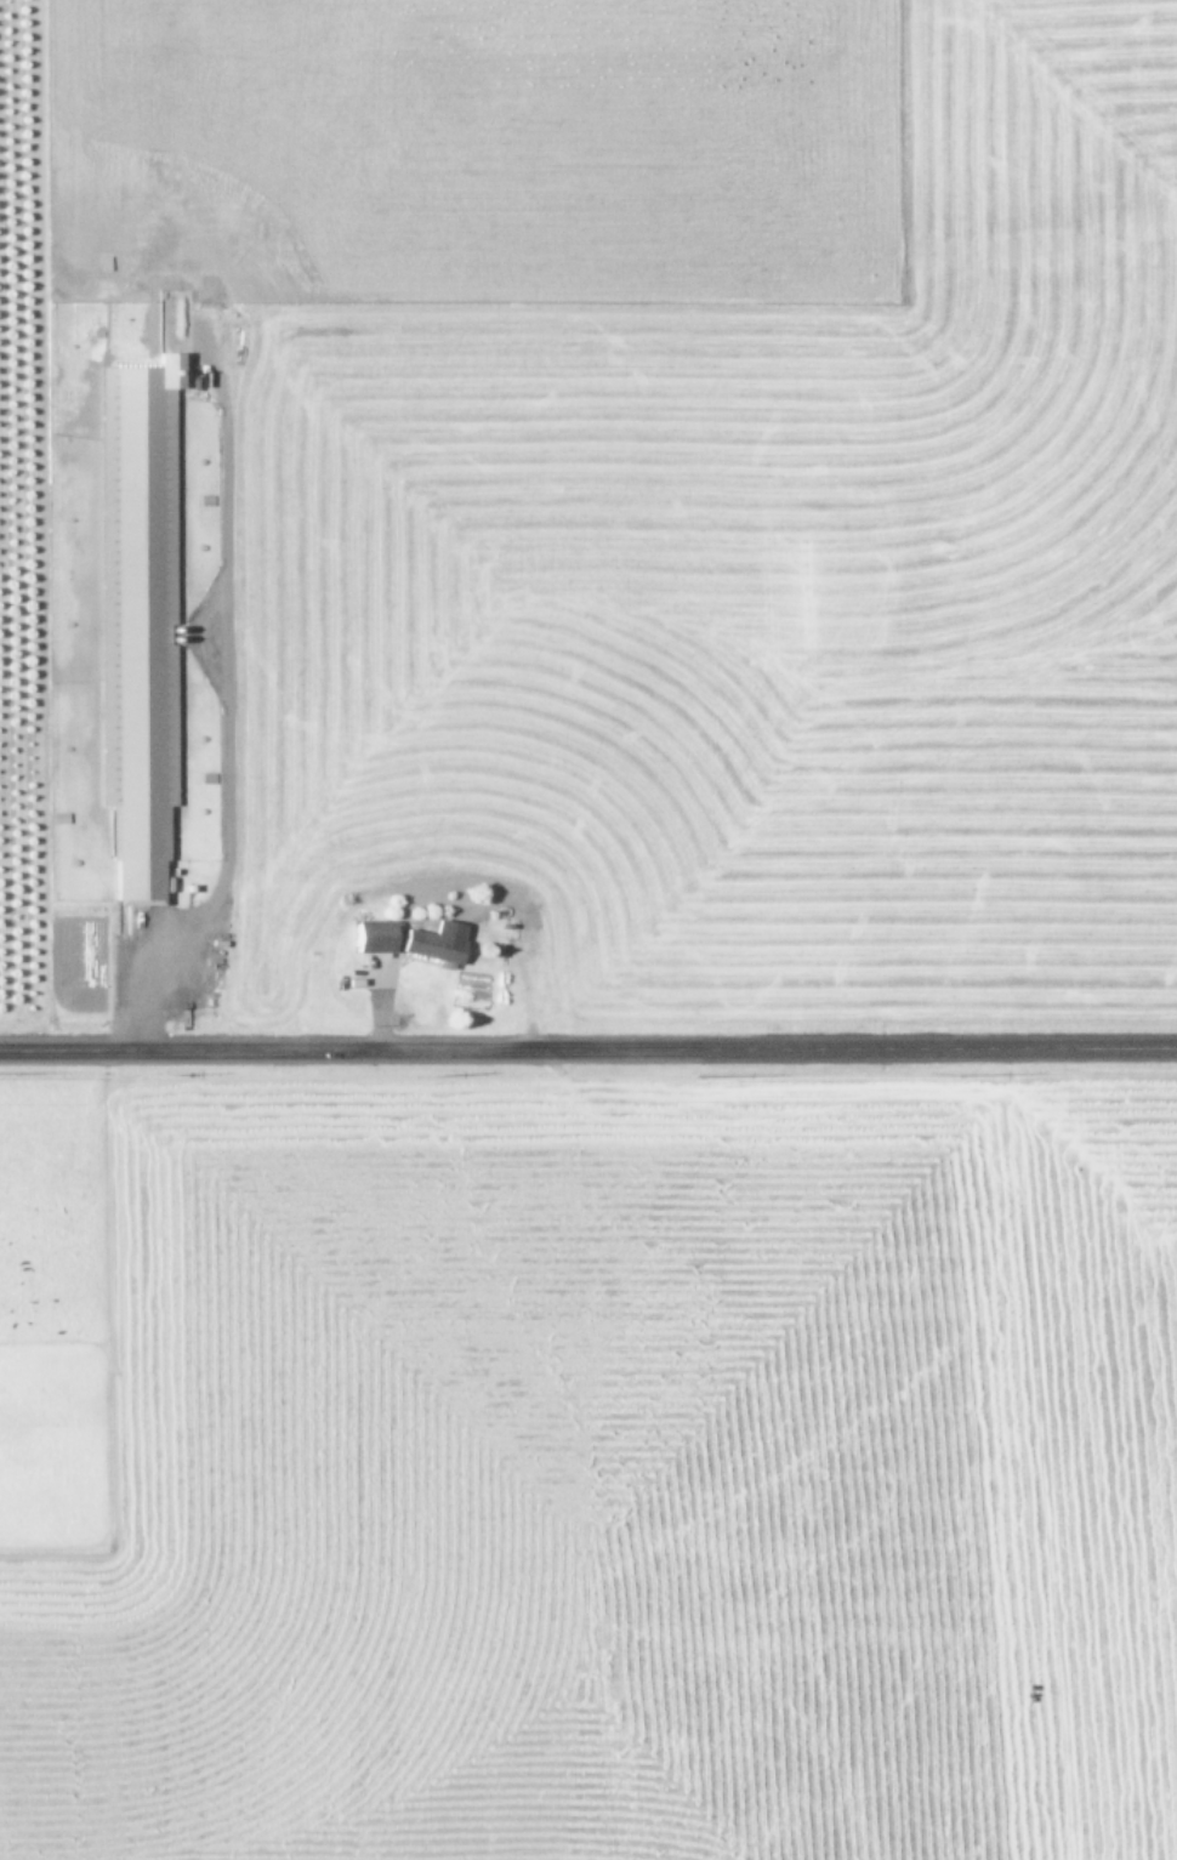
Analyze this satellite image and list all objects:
building: (137, 620)
crop: (588, 929)
building: (375, 937)
building: (437, 942)
road: (588, 1053)

